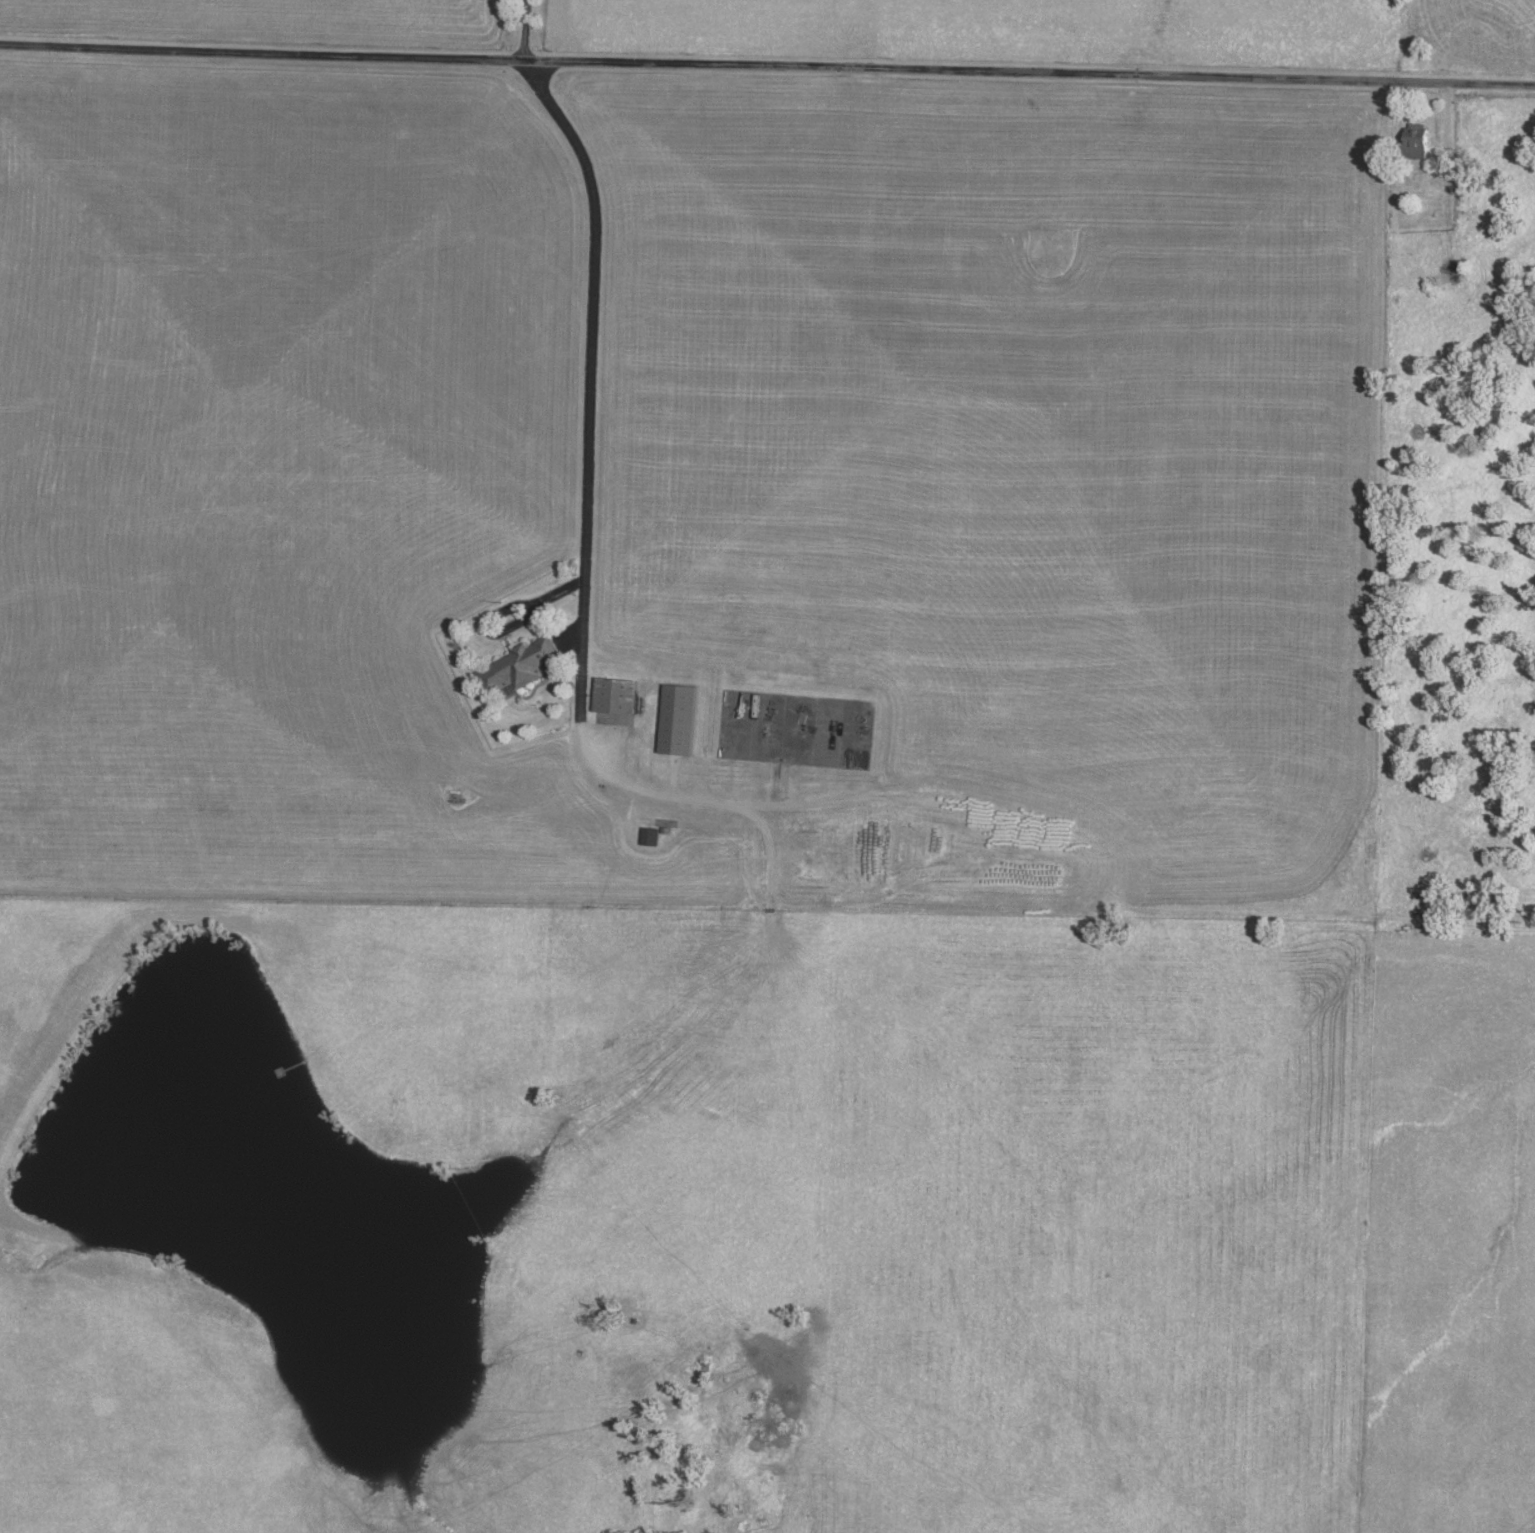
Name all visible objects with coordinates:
road: (526, 32)
road: (767, 68)
building: (1419, 139)
road: (1447, 169)
building: (1454, 270)
road: (531, 607)
building: (521, 665)
building: (618, 695)
building: (615, 719)
building: (680, 719)
road: (577, 729)
building: (652, 836)

